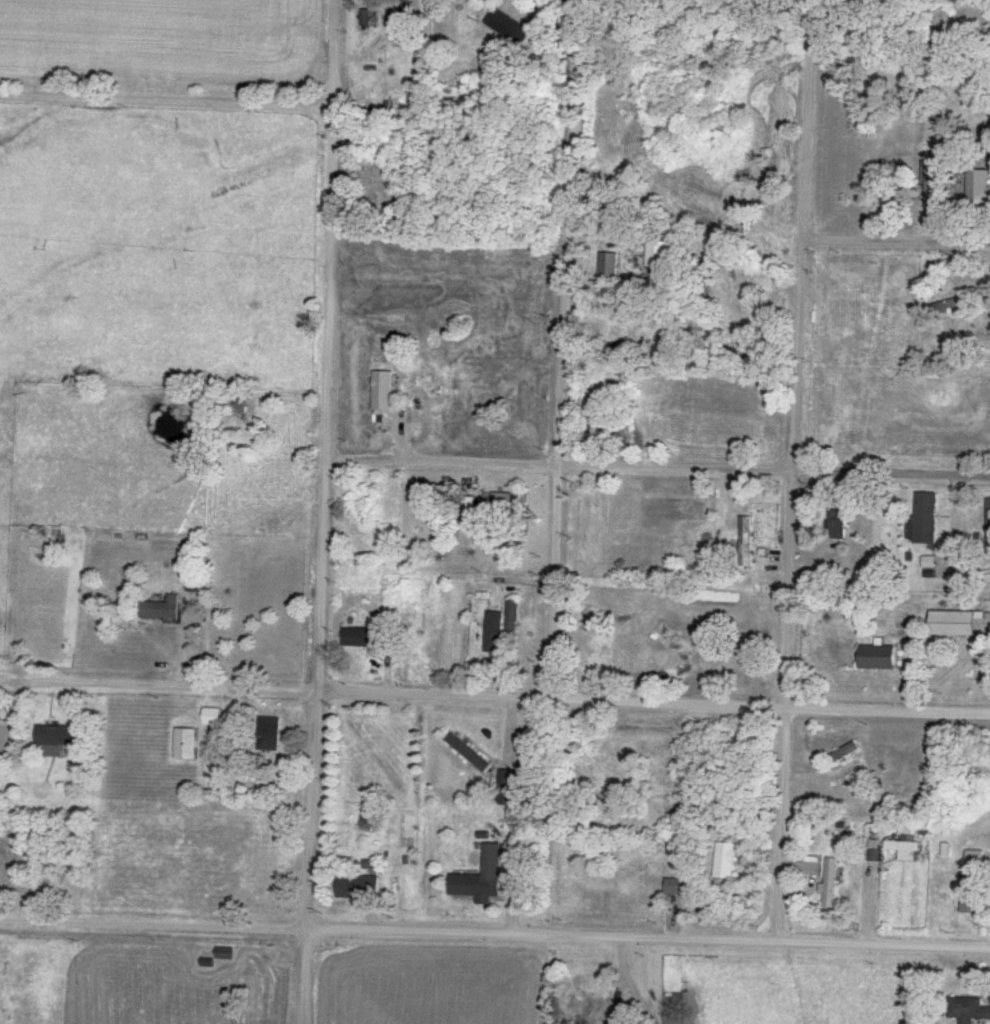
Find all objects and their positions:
building: (365, 18)
building: (507, 27)
road: (165, 102)
building: (979, 187)
building: (933, 188)
road: (897, 238)
building: (656, 254)
building: (608, 267)
building: (941, 307)
road: (563, 348)
building: (382, 391)
building: (590, 422)
road: (323, 464)
road: (657, 468)
road: (797, 469)
building: (511, 500)
building: (987, 516)
building: (926, 518)
building: (837, 525)
building: (746, 542)
building: (681, 573)
building: (161, 610)
building: (512, 622)
building: (954, 624)
building: (494, 632)
building: (362, 637)
building: (879, 658)
road: (185, 684)
road: (652, 702)
building: (4, 713)
building: (213, 717)
building: (270, 734)
building: (58, 735)
building: (187, 744)
building: (469, 753)
building: (842, 754)
building: (507, 787)
building: (906, 845)
building: (972, 857)
building: (725, 861)
building: (482, 879)
building: (830, 883)
building: (360, 887)
building: (679, 887)
building: (970, 897)
road: (867, 898)
road: (390, 930)
road: (885, 944)
road: (305, 976)
building: (587, 1008)
building: (967, 1009)

